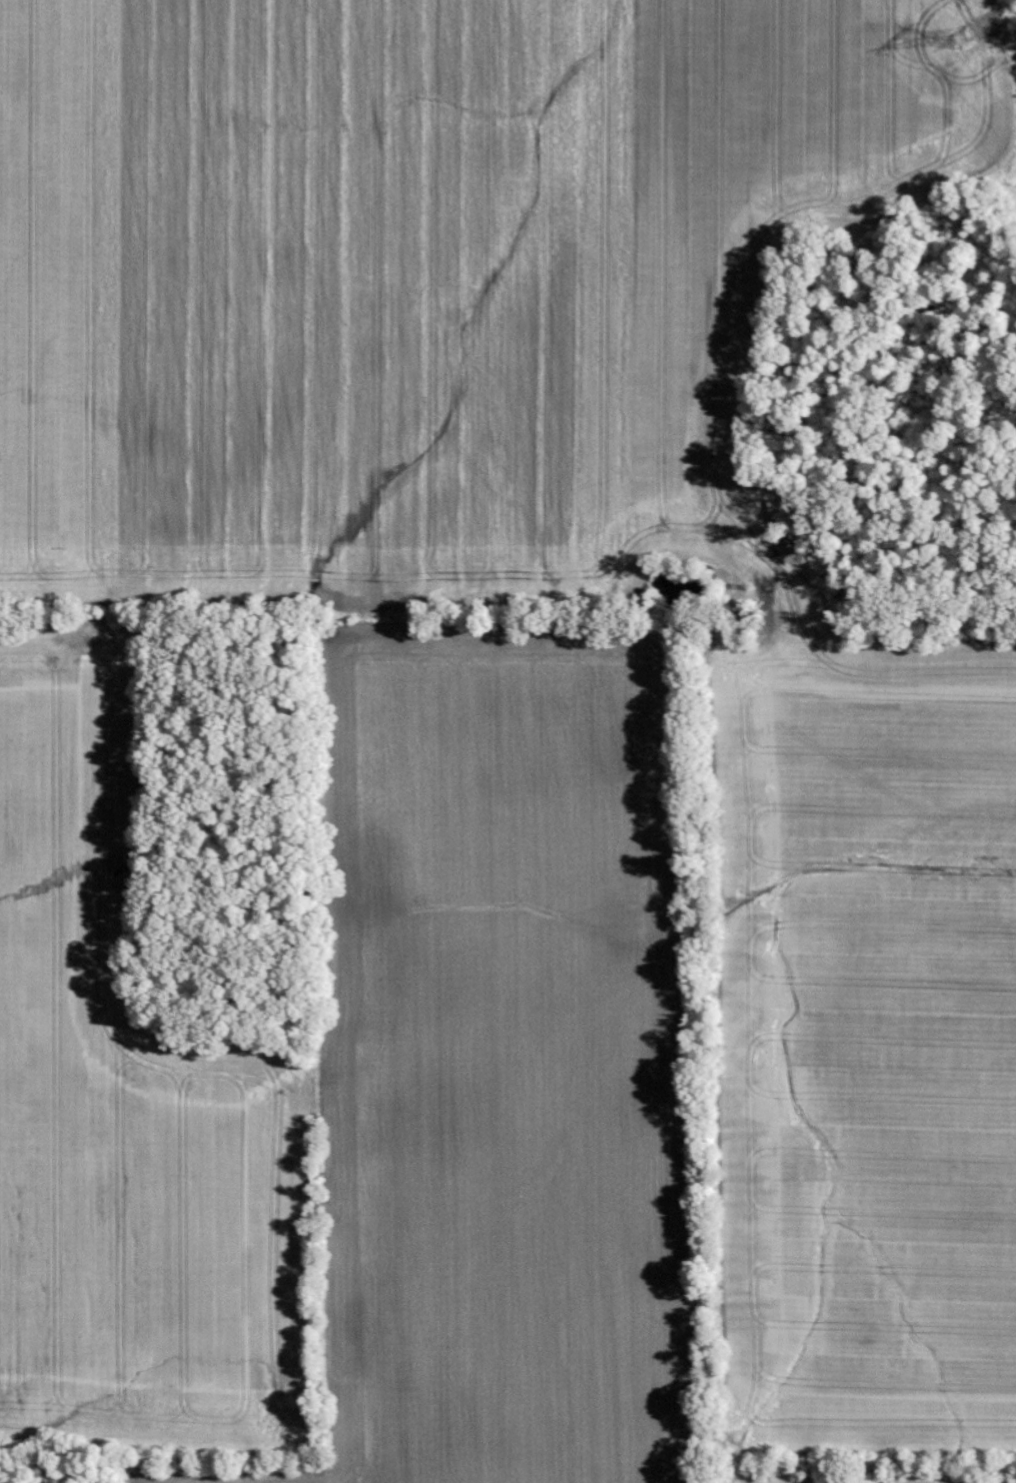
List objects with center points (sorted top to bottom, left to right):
power tower: (964, 39)

